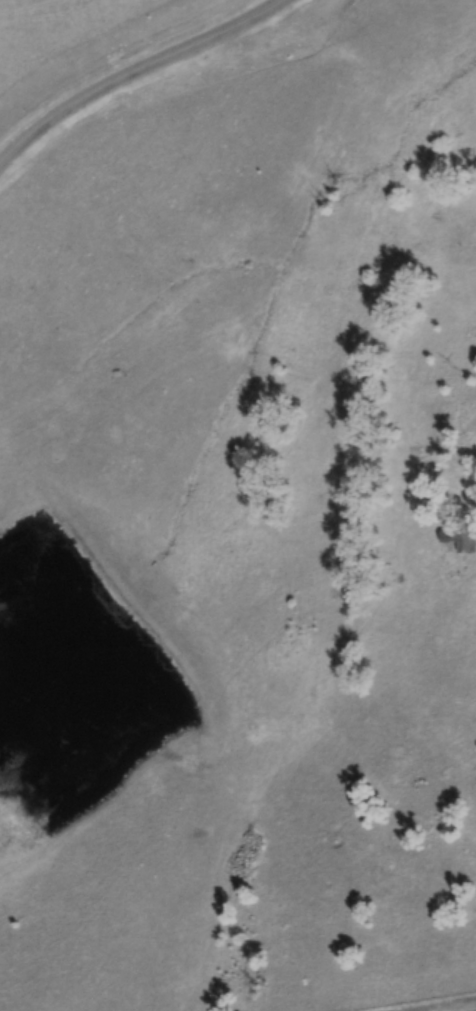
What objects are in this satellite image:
road: (138, 70)
building: (459, 539)

